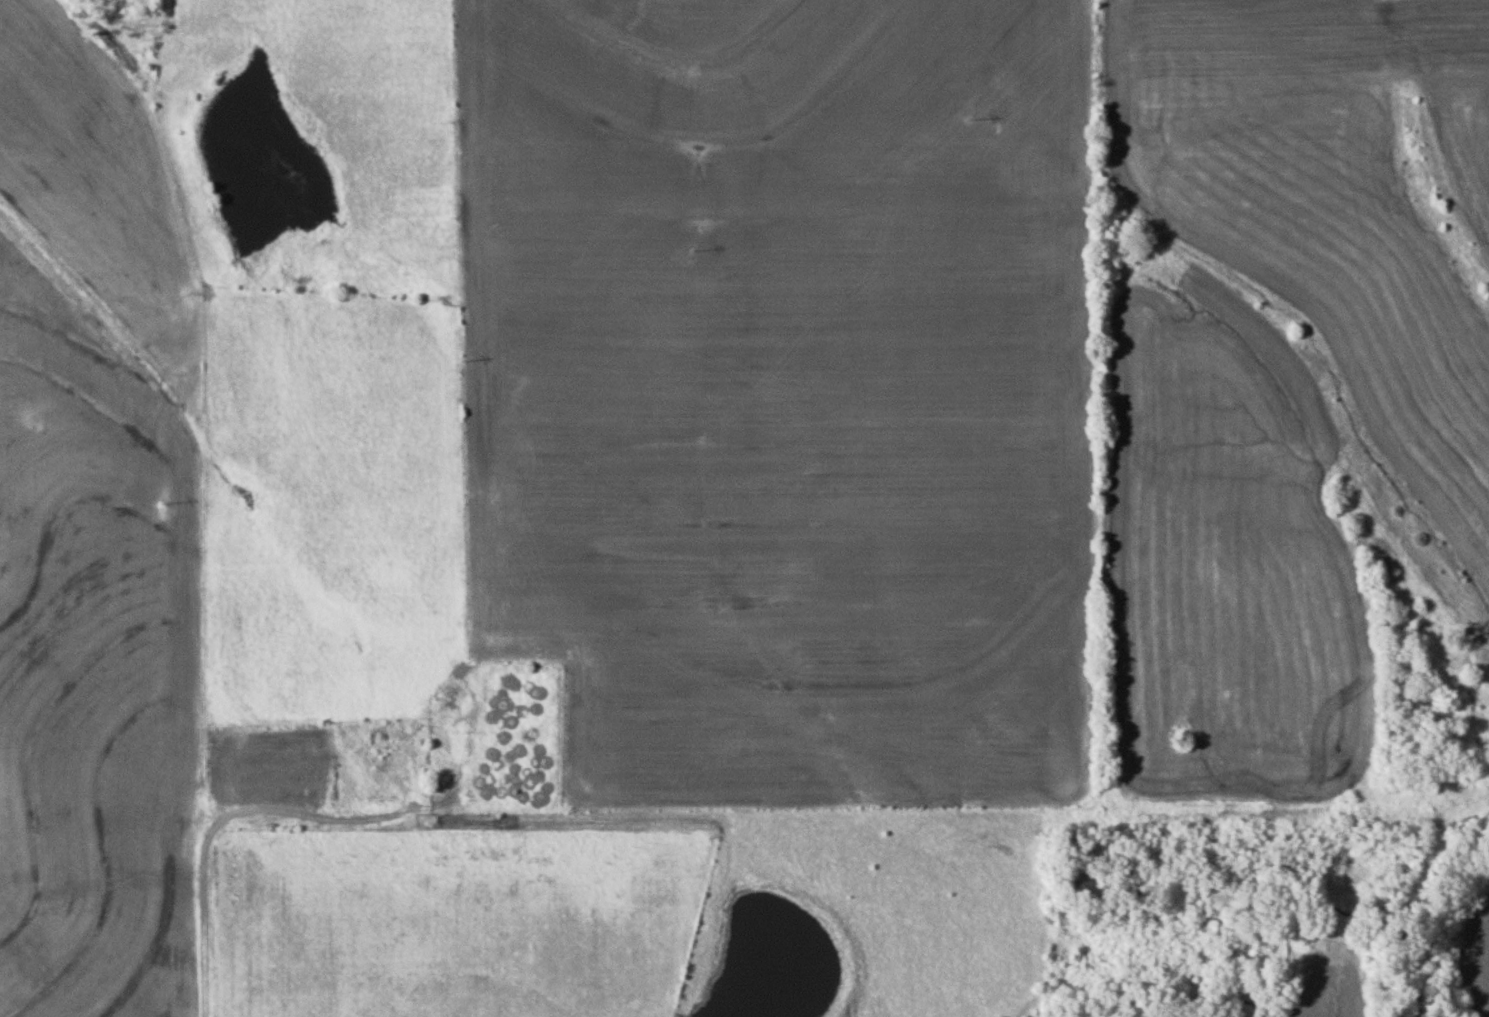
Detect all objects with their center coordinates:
road: (237, 812)

